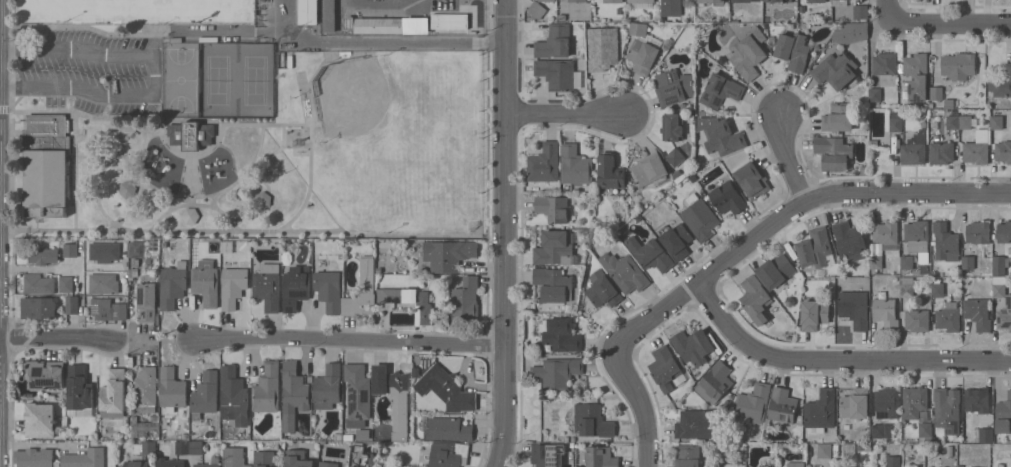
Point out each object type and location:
building: (549, 0)
building: (576, 0)
building: (610, 0)
building: (778, 0)
building: (817, 0)
building: (671, 1)
building: (711, 1)
building: (741, 1)
building: (839, 2)
building: (640, 3)
building: (536, 9)
road: (891, 10)
building: (309, 12)
building: (860, 12)
building: (329, 15)
building: (445, 21)
road: (951, 21)
building: (387, 24)
road: (48, 27)
building: (638, 27)
road: (227, 30)
building: (850, 32)
building: (554, 41)
road: (375, 42)
building: (602, 50)
building: (793, 50)
building: (748, 53)
building: (642, 55)
building: (885, 63)
building: (958, 65)
building: (916, 66)
building: (835, 70)
building: (556, 72)
road: (150, 76)
park: (256, 79)
park: (180, 80)
park: (218, 80)
building: (1001, 82)
building: (674, 86)
building: (720, 90)
building: (936, 92)
building: (875, 94)
building: (905, 95)
road: (569, 111)
park: (387, 115)
building: (838, 117)
building: (893, 119)
building: (953, 121)
building: (966, 121)
building: (996, 122)
road: (249, 125)
building: (672, 127)
park: (235, 131)
road: (108, 133)
building: (191, 134)
building: (720, 135)
road: (262, 139)
building: (977, 147)
road: (174, 149)
building: (914, 149)
building: (1003, 150)
road: (146, 152)
building: (834, 152)
building: (941, 152)
road: (97, 156)
building: (675, 156)
road: (794, 161)
road: (108, 163)
building: (545, 164)
building: (46, 165)
building: (575, 165)
building: (648, 169)
building: (610, 171)
road: (192, 176)
building: (753, 179)
building: (127, 188)
road: (76, 194)
building: (727, 197)
road: (15, 199)
road: (214, 200)
road: (192, 201)
road: (196, 205)
building: (553, 207)
building: (189, 215)
building: (699, 217)
road: (791, 220)
building: (886, 231)
building: (1004, 231)
building: (978, 232)
road: (505, 233)
road: (409, 235)
building: (918, 238)
building: (677, 240)
building: (850, 240)
building: (945, 242)
building: (554, 248)
building: (815, 248)
building: (70, 249)
building: (142, 250)
building: (104, 251)
building: (650, 253)
building: (449, 254)
building: (43, 255)
building: (906, 261)
building: (968, 261)
building: (875, 262)
building: (998, 265)
road: (39, 268)
building: (776, 270)
building: (625, 272)
building: (206, 281)
building: (38, 283)
building: (66, 283)
building: (104, 283)
building: (173, 284)
building: (234, 284)
building: (554, 284)
building: (268, 286)
building: (296, 286)
building: (907, 286)
building: (998, 286)
building: (937, 288)
building: (328, 289)
building: (602, 289)
building: (362, 291)
building: (754, 295)
building: (148, 299)
building: (466, 299)
building: (72, 304)
building: (38, 307)
building: (855, 308)
building: (108, 309)
building: (885, 312)
building: (423, 313)
building: (978, 313)
building: (814, 314)
building: (1005, 314)
building: (949, 316)
building: (917, 317)
building: (561, 333)
road: (65, 339)
road: (354, 339)
building: (695, 345)
road: (836, 360)
building: (665, 367)
building: (557, 371)
building: (46, 374)
building: (714, 382)
building: (328, 386)
building: (79, 388)
building: (267, 388)
building: (447, 388)
building: (146, 389)
building: (114, 390)
building: (172, 390)
building: (205, 394)
building: (293, 394)
building: (357, 394)
building: (234, 395)
building: (393, 399)
building: (914, 400)
building: (976, 400)
building: (855, 401)
building: (887, 402)
building: (753, 403)
building: (783, 404)
building: (946, 404)
road: (643, 406)
building: (821, 409)
building: (1003, 414)
building: (40, 419)
building: (1010, 419)
building: (591, 420)
building: (694, 423)
building: (144, 425)
building: (448, 428)
building: (882, 430)
building: (930, 431)
building: (985, 434)
building: (144, 447)
building: (189, 447)
building: (824, 449)
building: (447, 453)
building: (548, 454)
building: (687, 455)
building: (600, 456)
building: (34, 457)
building: (234, 457)
building: (85, 458)
building: (264, 458)
building: (295, 458)
building: (893, 461)
building: (169, 462)
building: (136, 463)
building: (210, 463)
building: (328, 463)
building: (795, 464)
building: (733, 465)
building: (355, 466)

